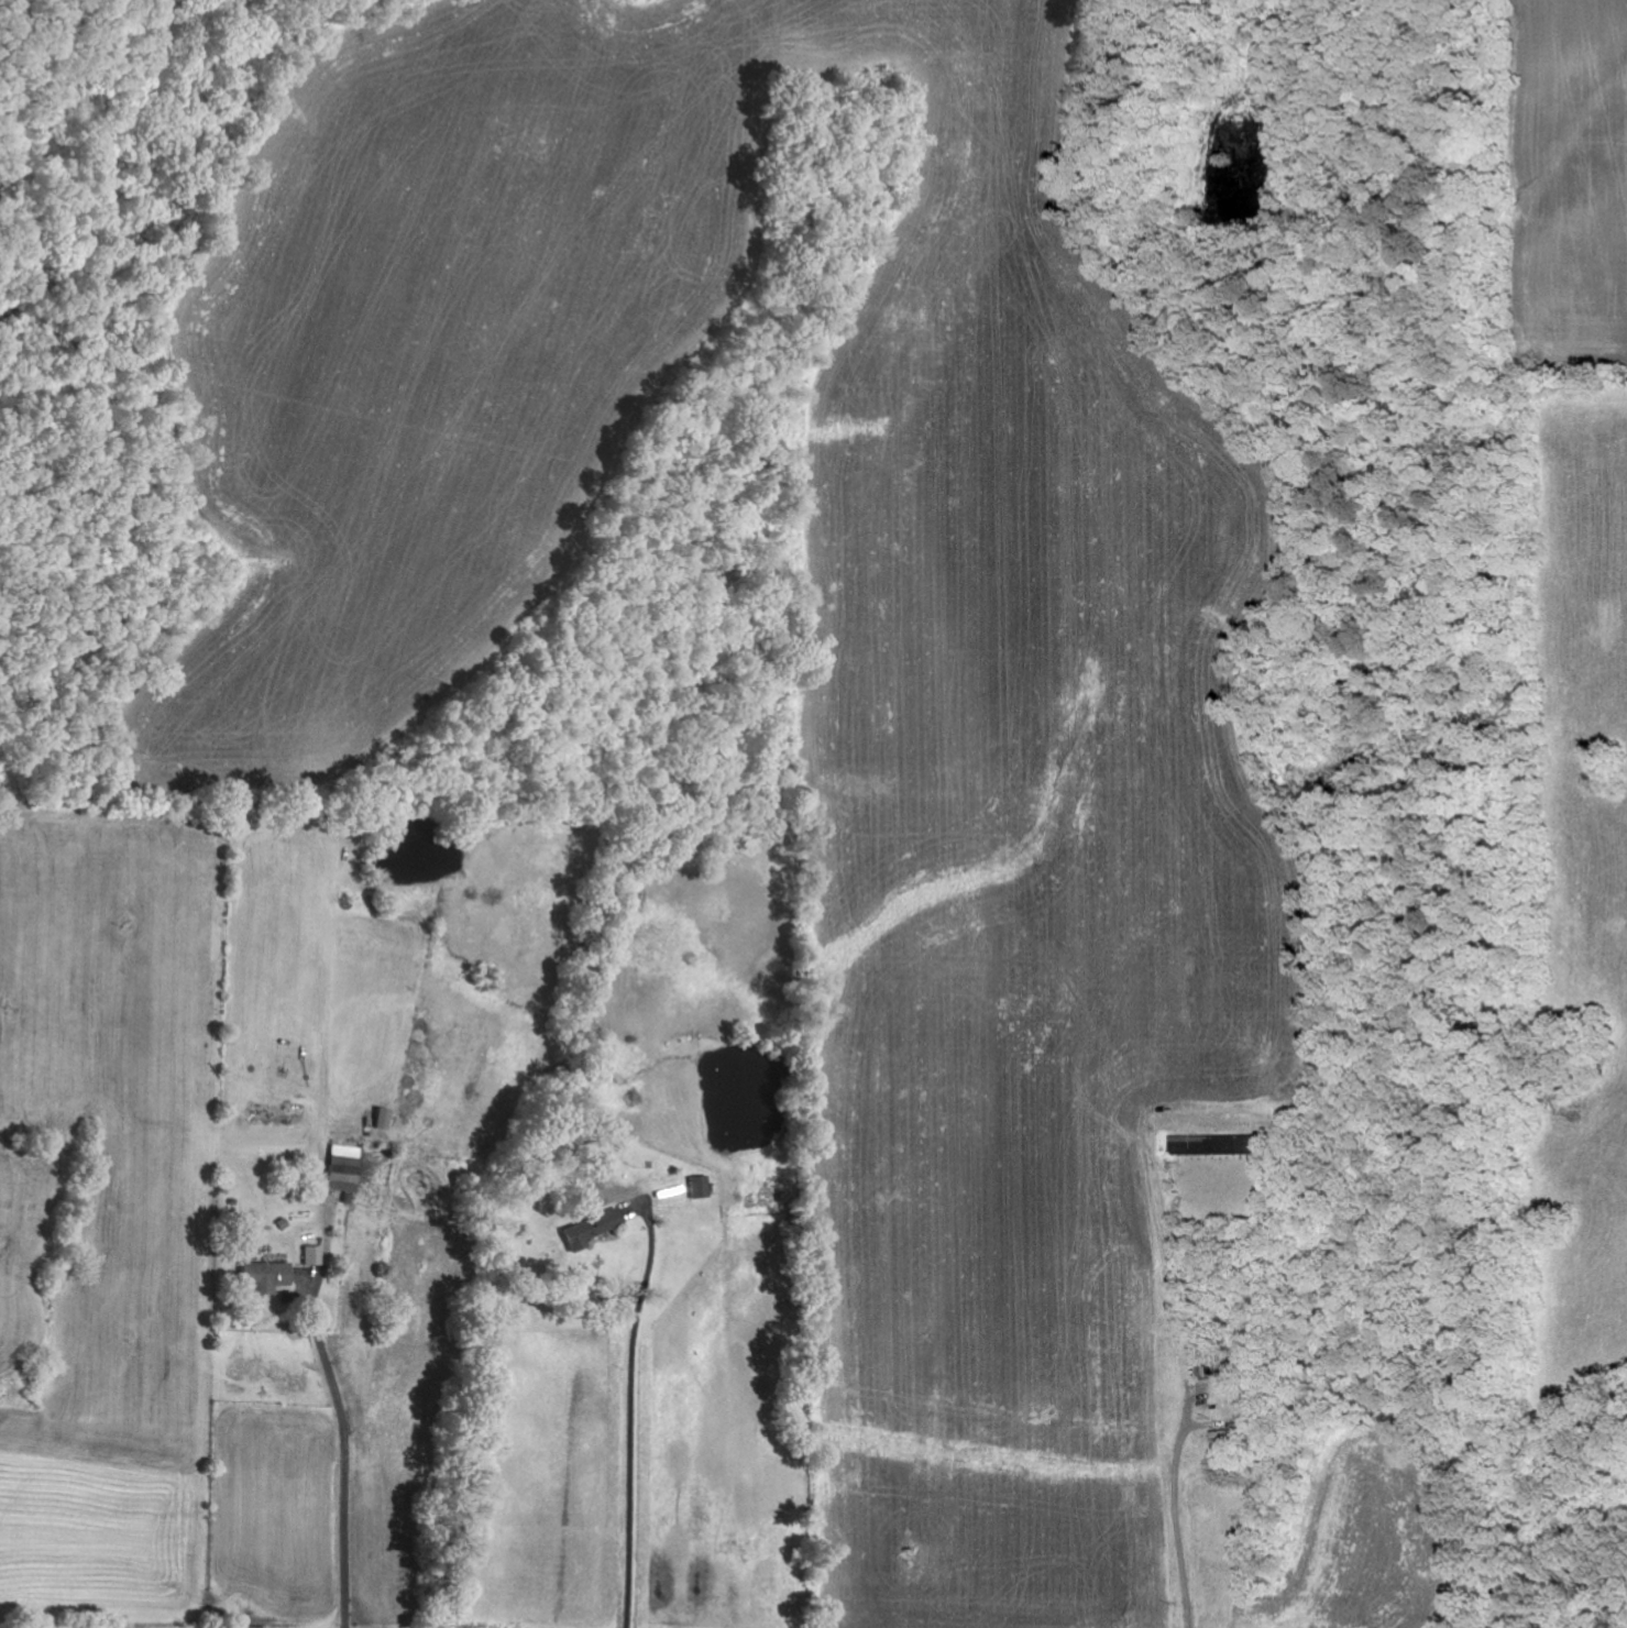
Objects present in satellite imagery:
building: (1212, 1146)
building: (337, 1168)
building: (694, 1187)
building: (583, 1230)
building: (307, 1256)
building: (259, 1276)
road: (624, 1400)
road: (1186, 1555)

